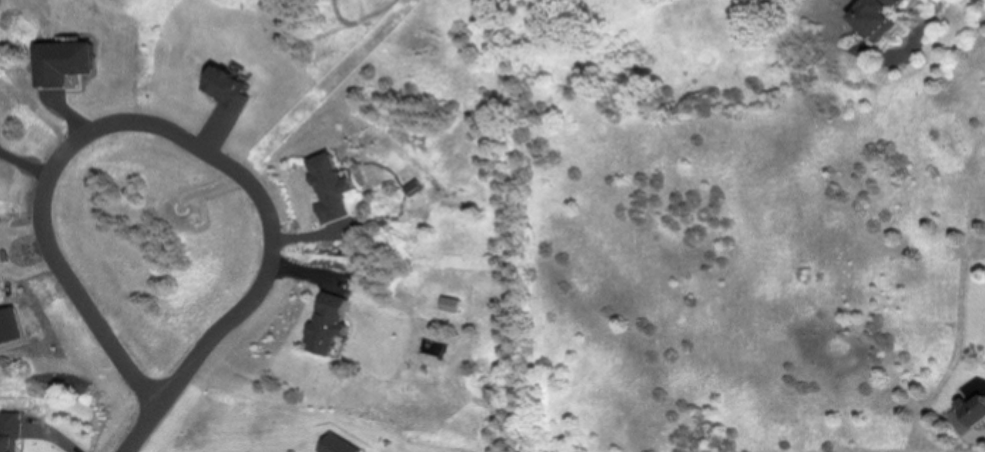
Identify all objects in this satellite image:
building: (875, 16)
road: (149, 126)
building: (973, 410)
road: (137, 430)

